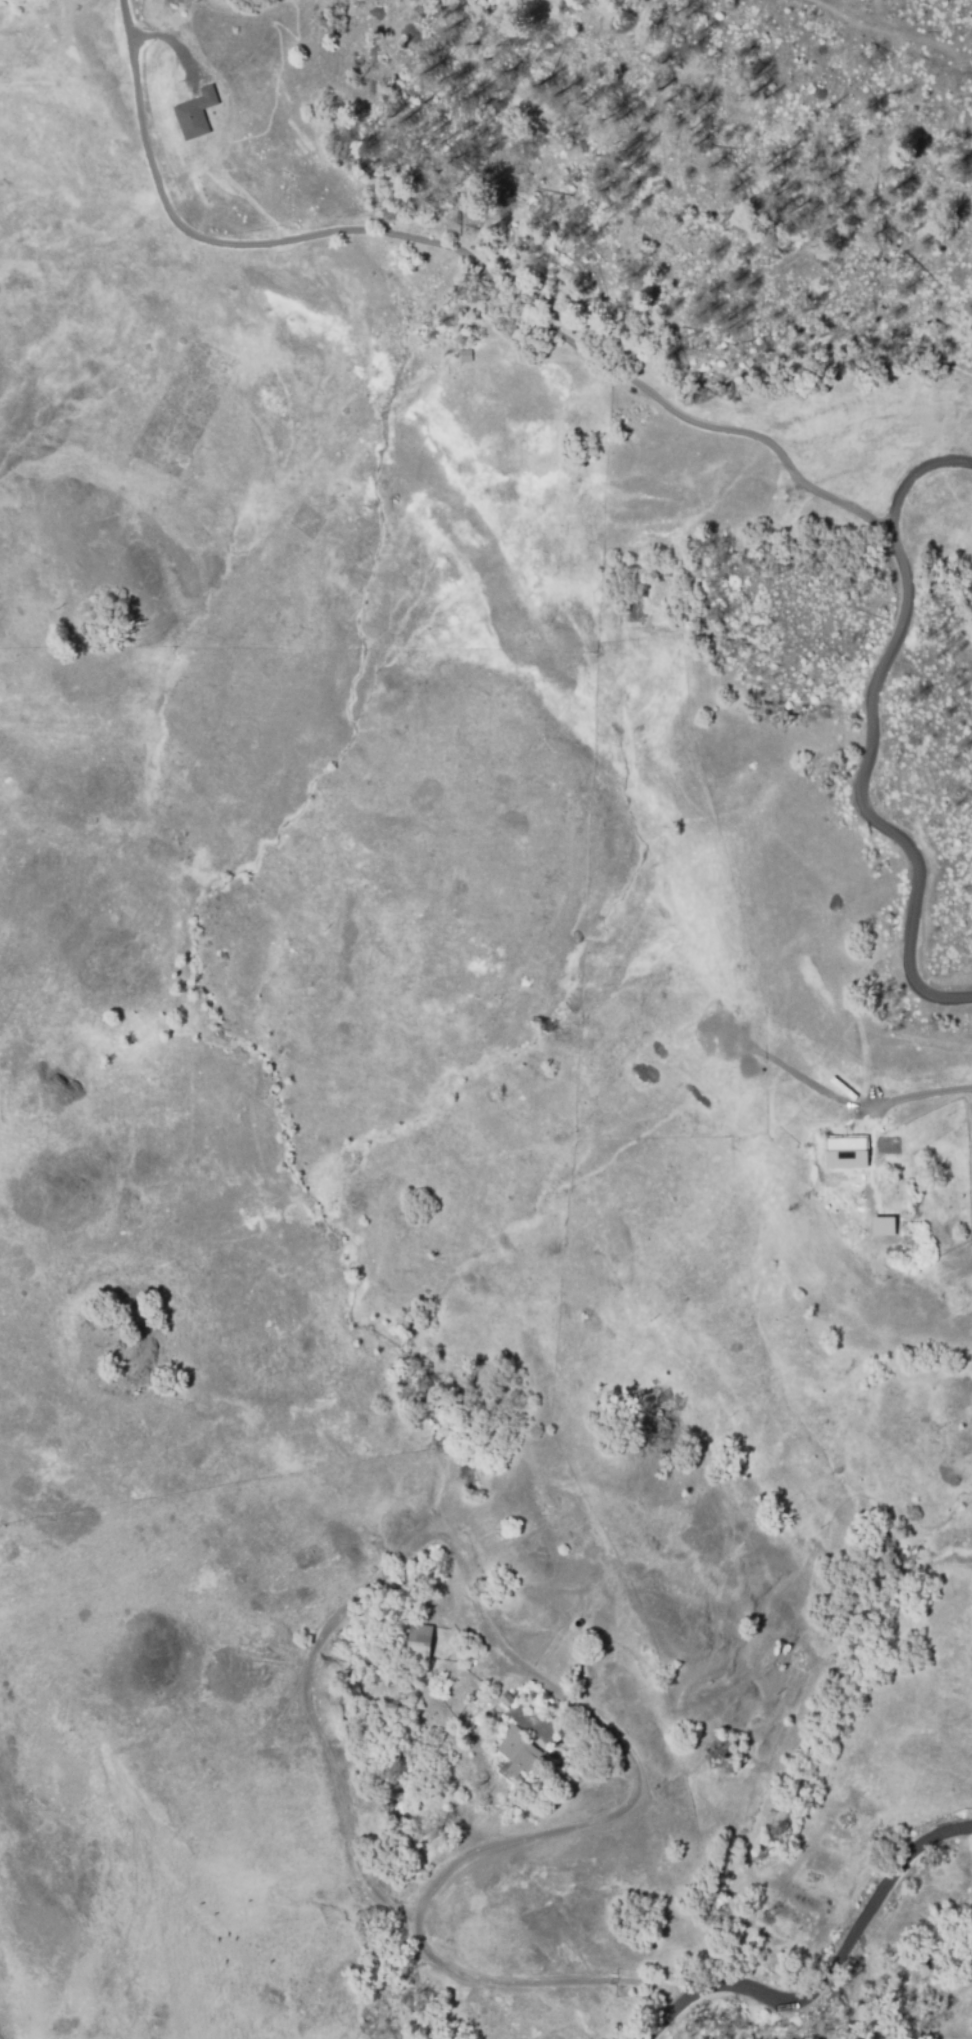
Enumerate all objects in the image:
building: (175, 22)
building: (195, 114)
building: (465, 356)
road: (671, 405)
road: (916, 477)
road: (909, 1097)
building: (433, 1631)
building: (415, 1640)
building: (616, 1687)
road: (582, 1692)
building: (506, 1701)
building: (539, 1740)
building: (516, 1752)
road: (826, 1970)

